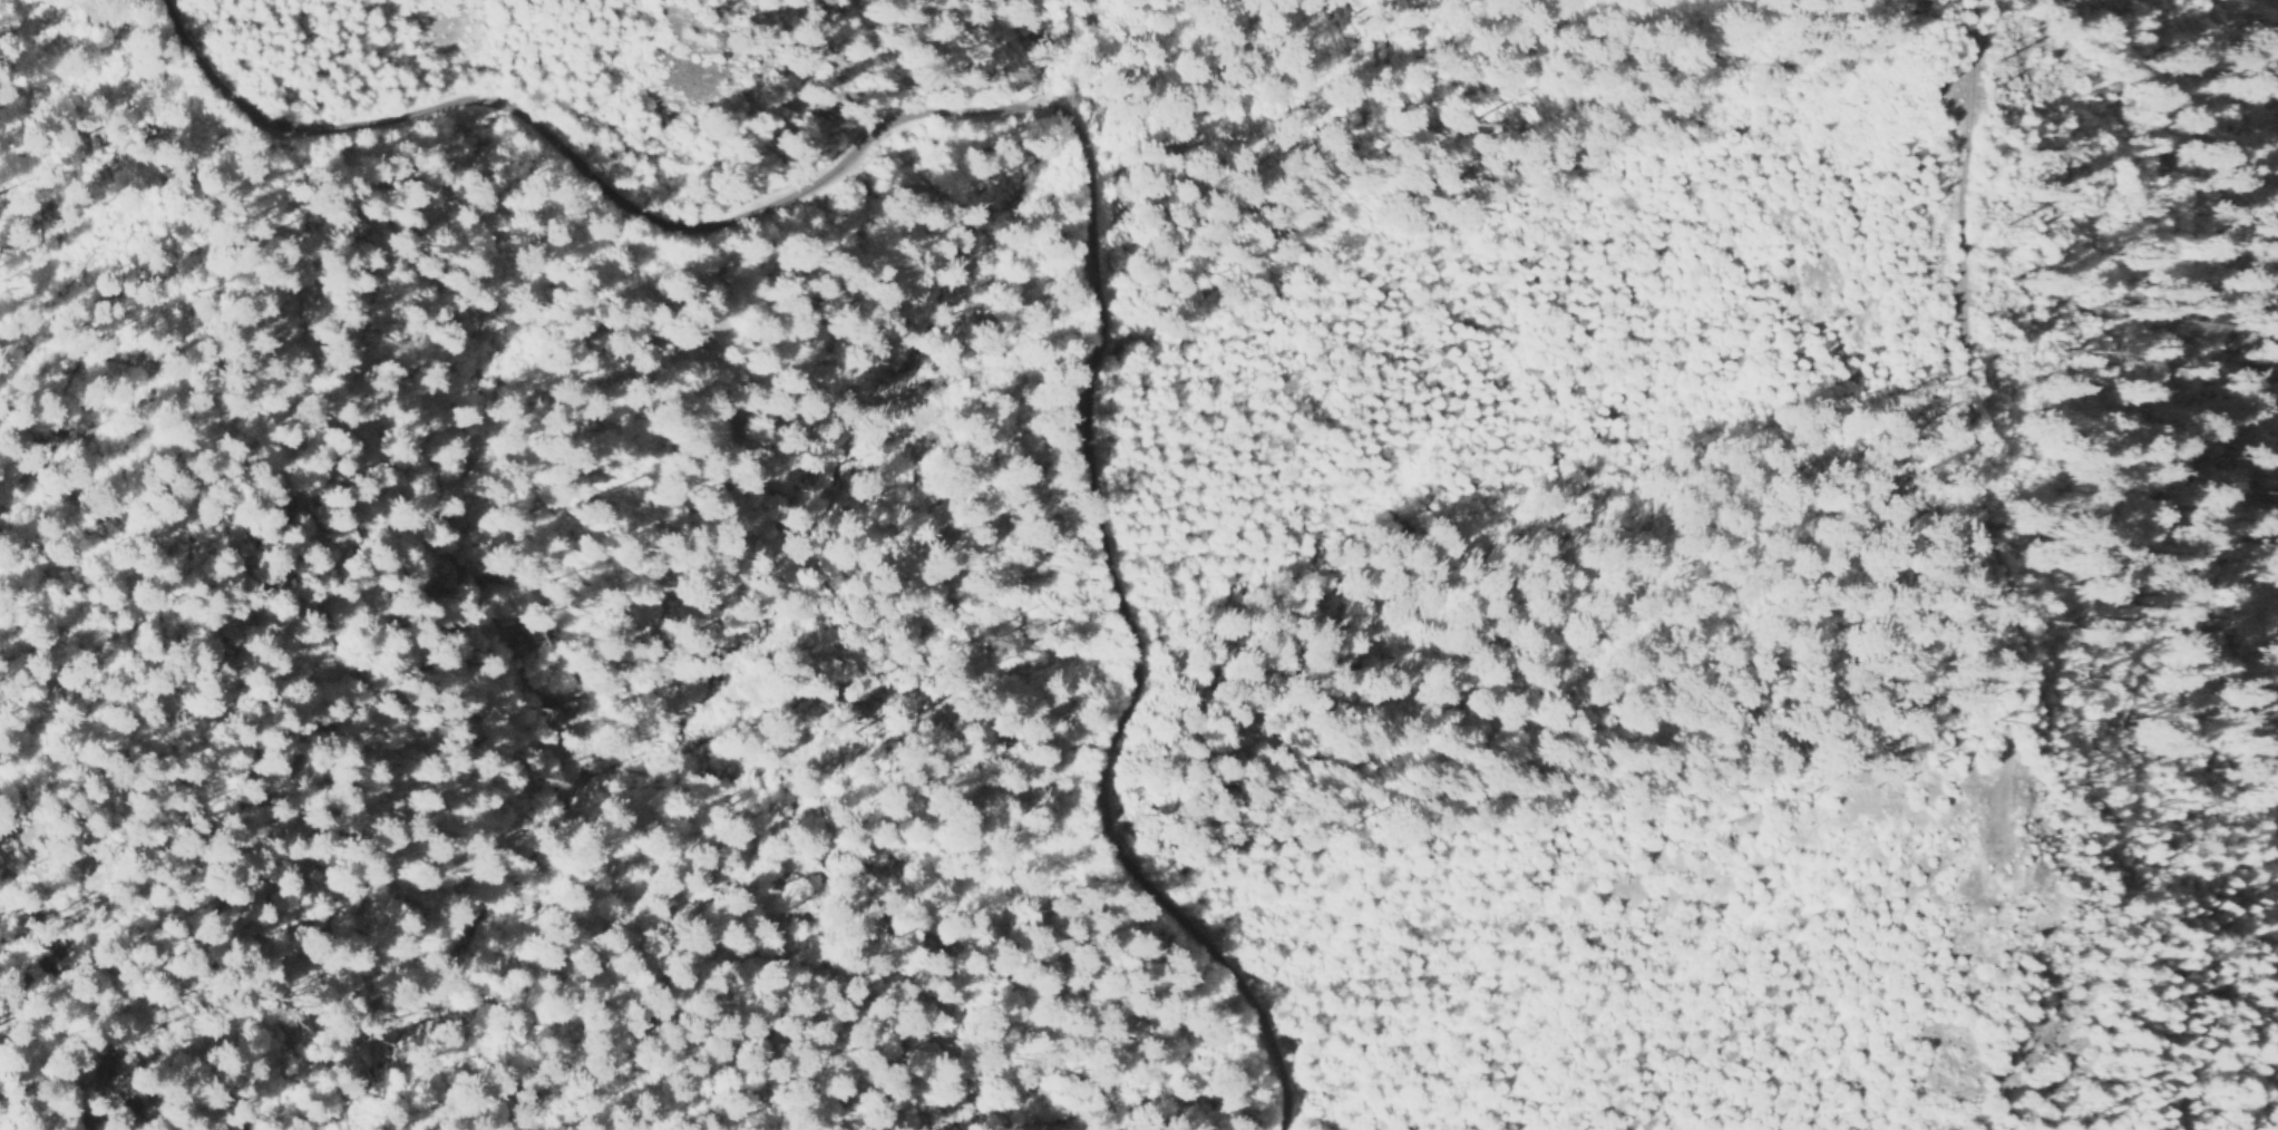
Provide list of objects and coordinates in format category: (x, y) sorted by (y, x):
road: (1075, 154)
road: (1956, 419)

